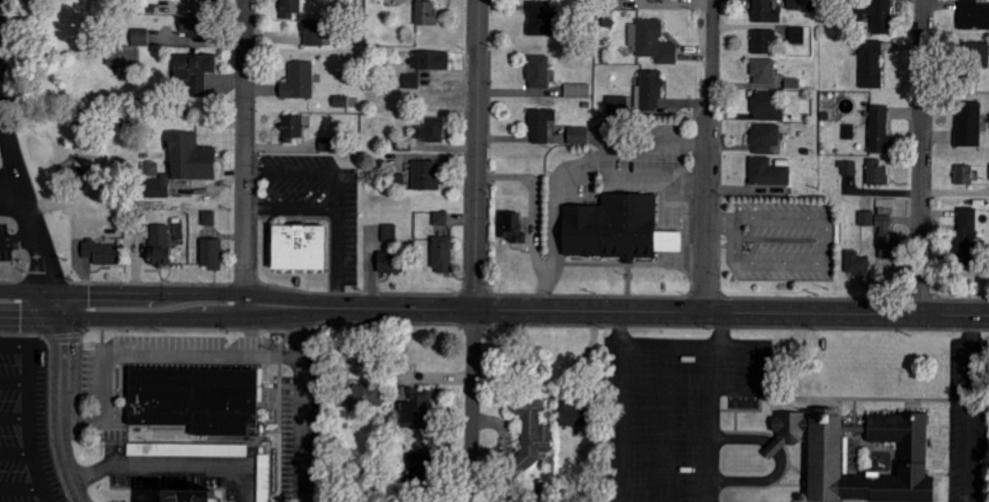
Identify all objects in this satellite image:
building: (197, 4)
building: (615, 4)
building: (794, 4)
building: (290, 8)
building: (765, 12)
building: (426, 13)
building: (878, 15)
building: (974, 15)
building: (539, 19)
building: (192, 29)
building: (314, 32)
building: (797, 34)
building: (763, 41)
building: (651, 42)
building: (976, 58)
building: (429, 62)
building: (871, 64)
building: (193, 71)
building: (763, 71)
building: (538, 72)
building: (299, 81)
building: (651, 90)
building: (578, 91)
building: (339, 102)
building: (618, 105)
road: (4, 106)
building: (767, 106)
building: (968, 124)
building: (541, 125)
road: (6, 126)
building: (293, 127)
building: (432, 129)
building: (879, 129)
building: (578, 135)
building: (764, 138)
building: (327, 144)
road: (244, 152)
road: (708, 156)
road: (922, 158)
building: (182, 165)
building: (849, 168)
building: (152, 169)
building: (768, 172)
building: (877, 172)
building: (427, 175)
building: (964, 175)
road: (955, 193)
building: (208, 218)
building: (440, 219)
building: (867, 219)
building: (511, 228)
building: (617, 229)
building: (390, 233)
building: (966, 235)
road: (20, 240)
building: (160, 245)
building: (890, 245)
building: (296, 247)
road: (44, 251)
road: (476, 251)
building: (101, 252)
building: (211, 254)
building: (442, 254)
building: (390, 262)
building: (857, 263)
road: (494, 311)
road: (14, 347)
road: (670, 348)
road: (144, 355)
road: (14, 384)
building: (359, 396)
building: (195, 398)
road: (290, 400)
building: (415, 408)
road: (971, 409)
building: (572, 414)
road: (14, 419)
road: (710, 424)
road: (626, 425)
road: (667, 425)
road: (29, 426)
building: (531, 433)
road: (16, 453)
road: (173, 465)
building: (264, 478)
road: (21, 489)
building: (182, 496)

